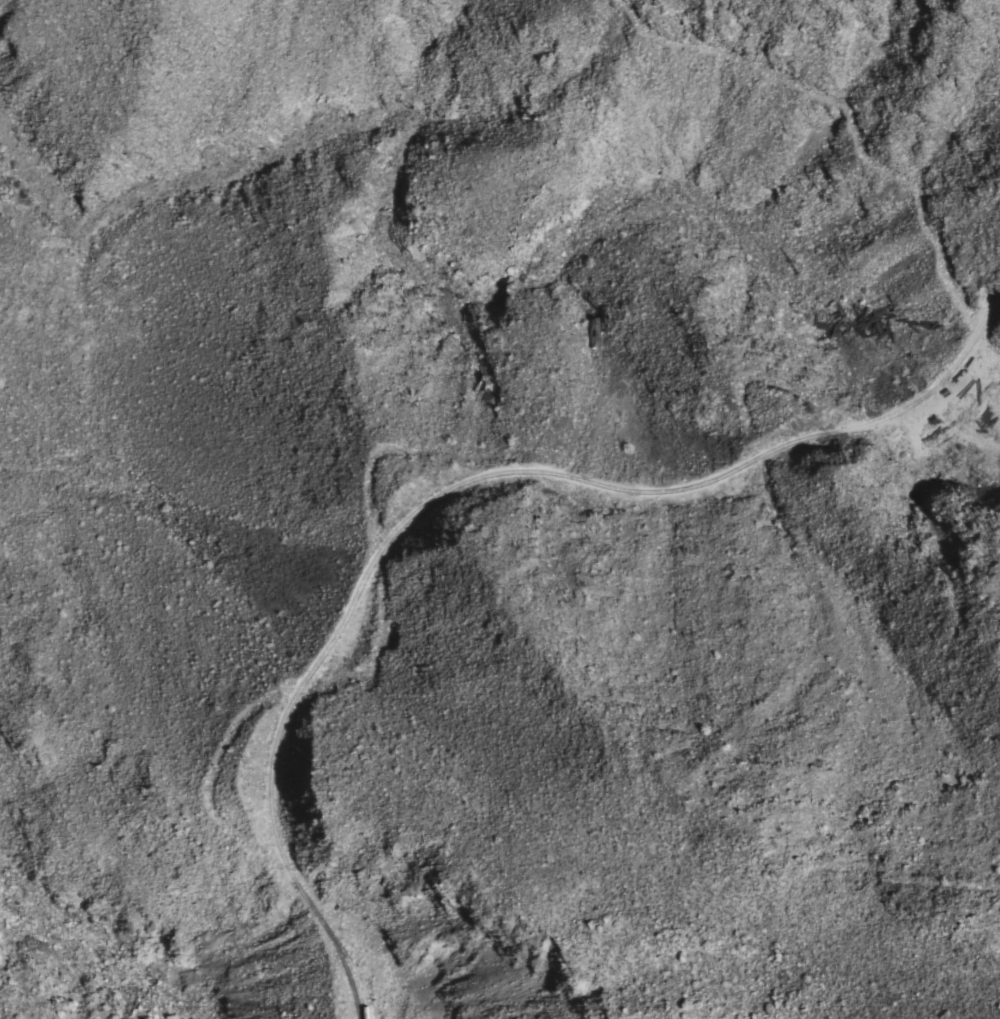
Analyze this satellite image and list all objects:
road: (827, 108)
railway: (455, 485)
road: (439, 489)
railway: (358, 976)

